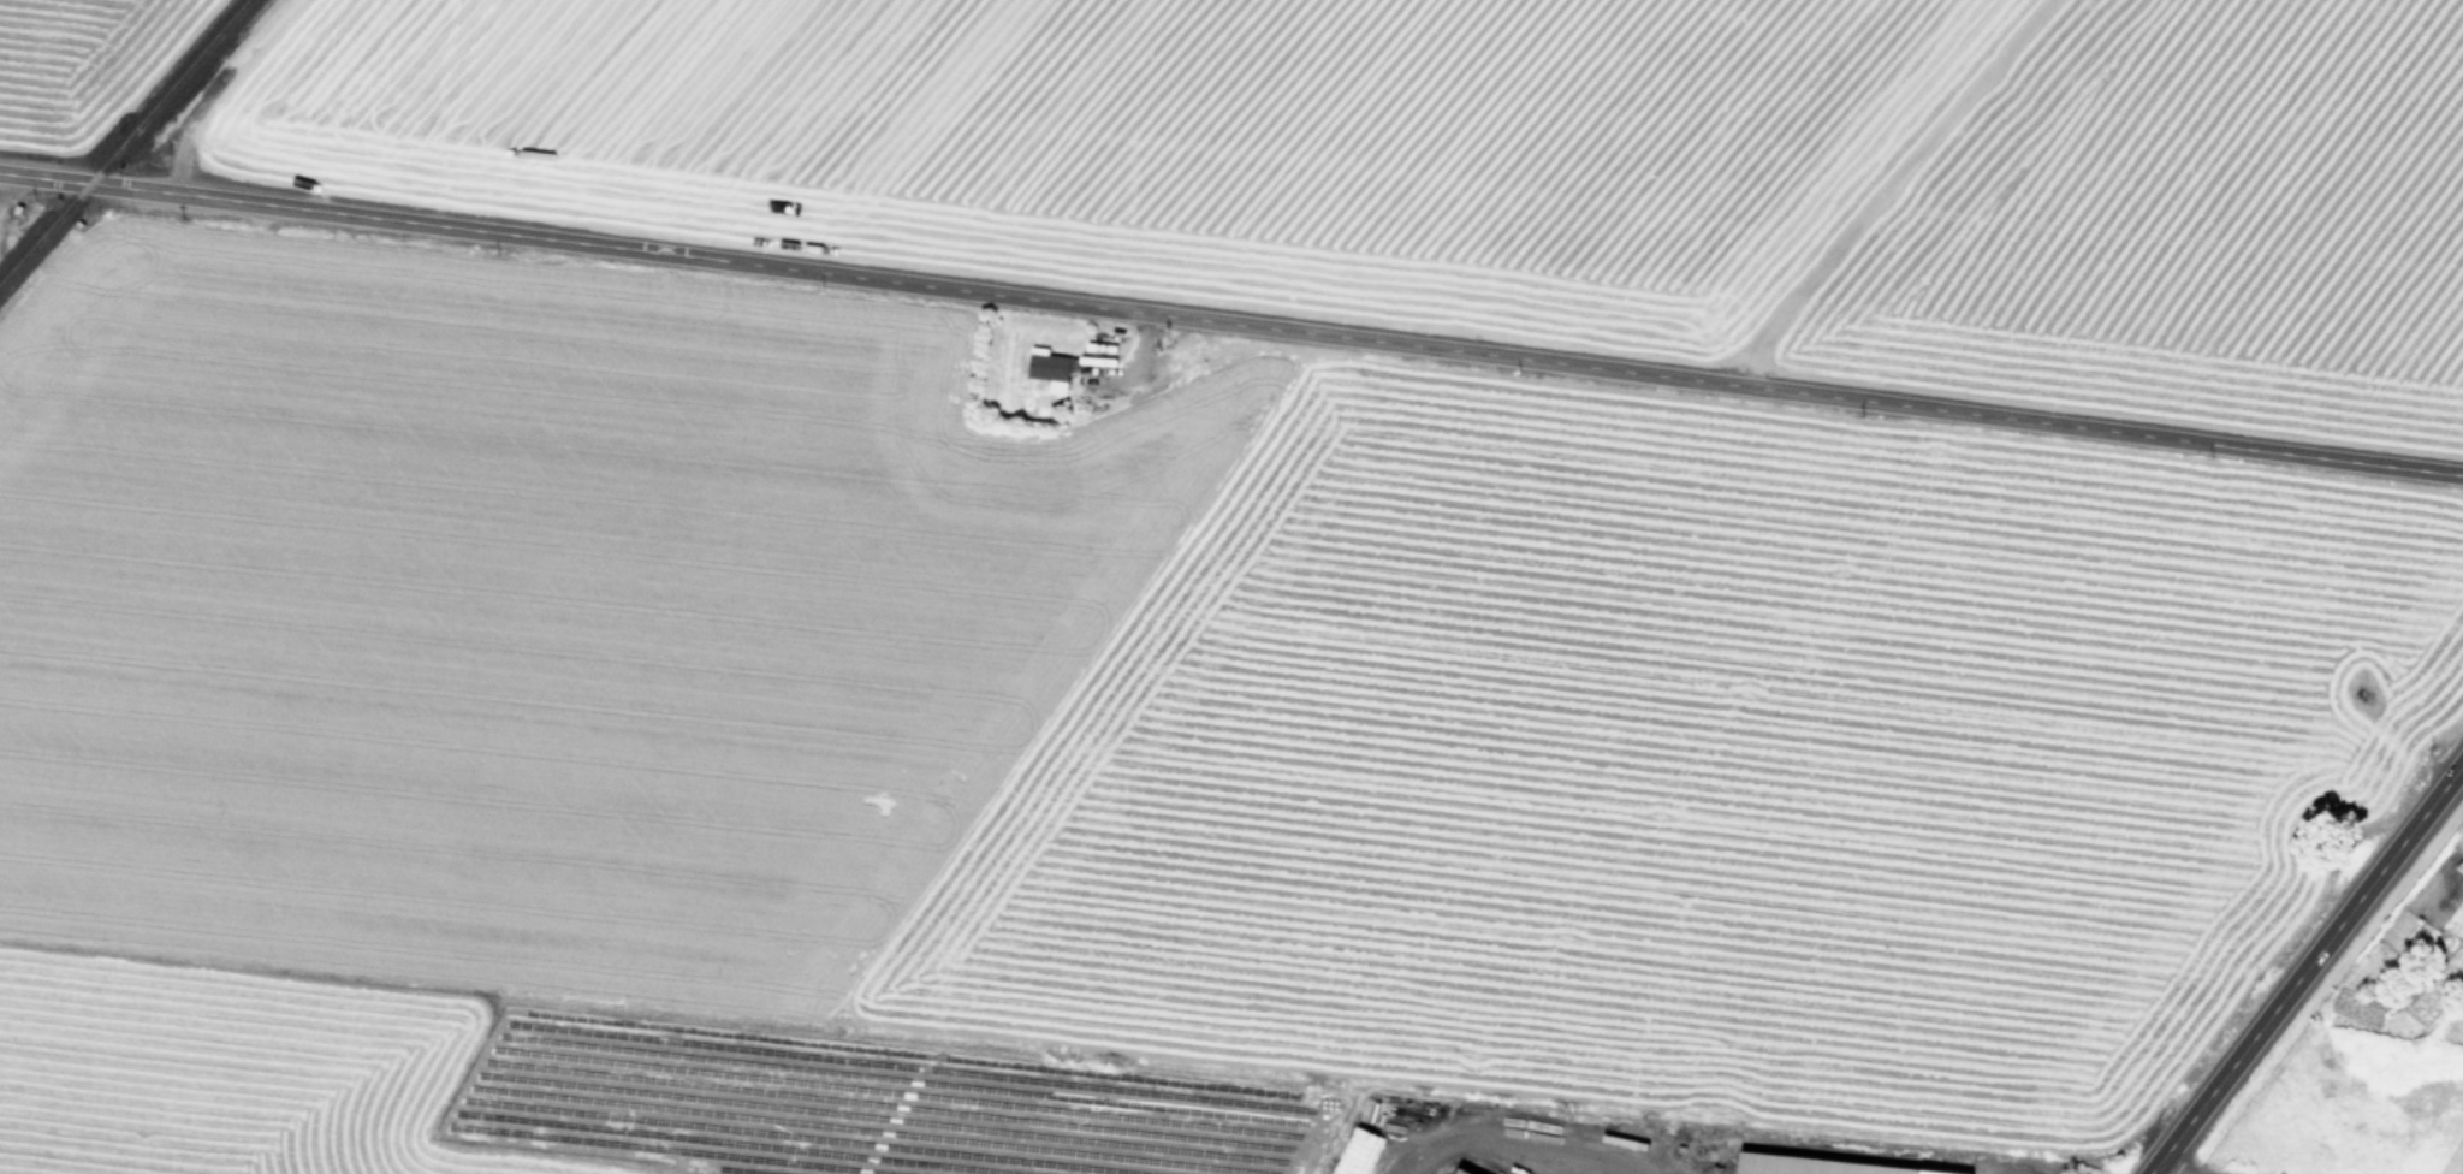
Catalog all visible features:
railway: (125, 143)
crop: (1474, 147)
road: (1231, 324)
building: (1052, 373)
building: (2363, 694)
crop: (1105, 752)
road: (2307, 968)
crop: (2402, 1055)
road: (1506, 1139)
building: (1816, 1166)
road: (2164, 1170)
building: (1460, 1172)

